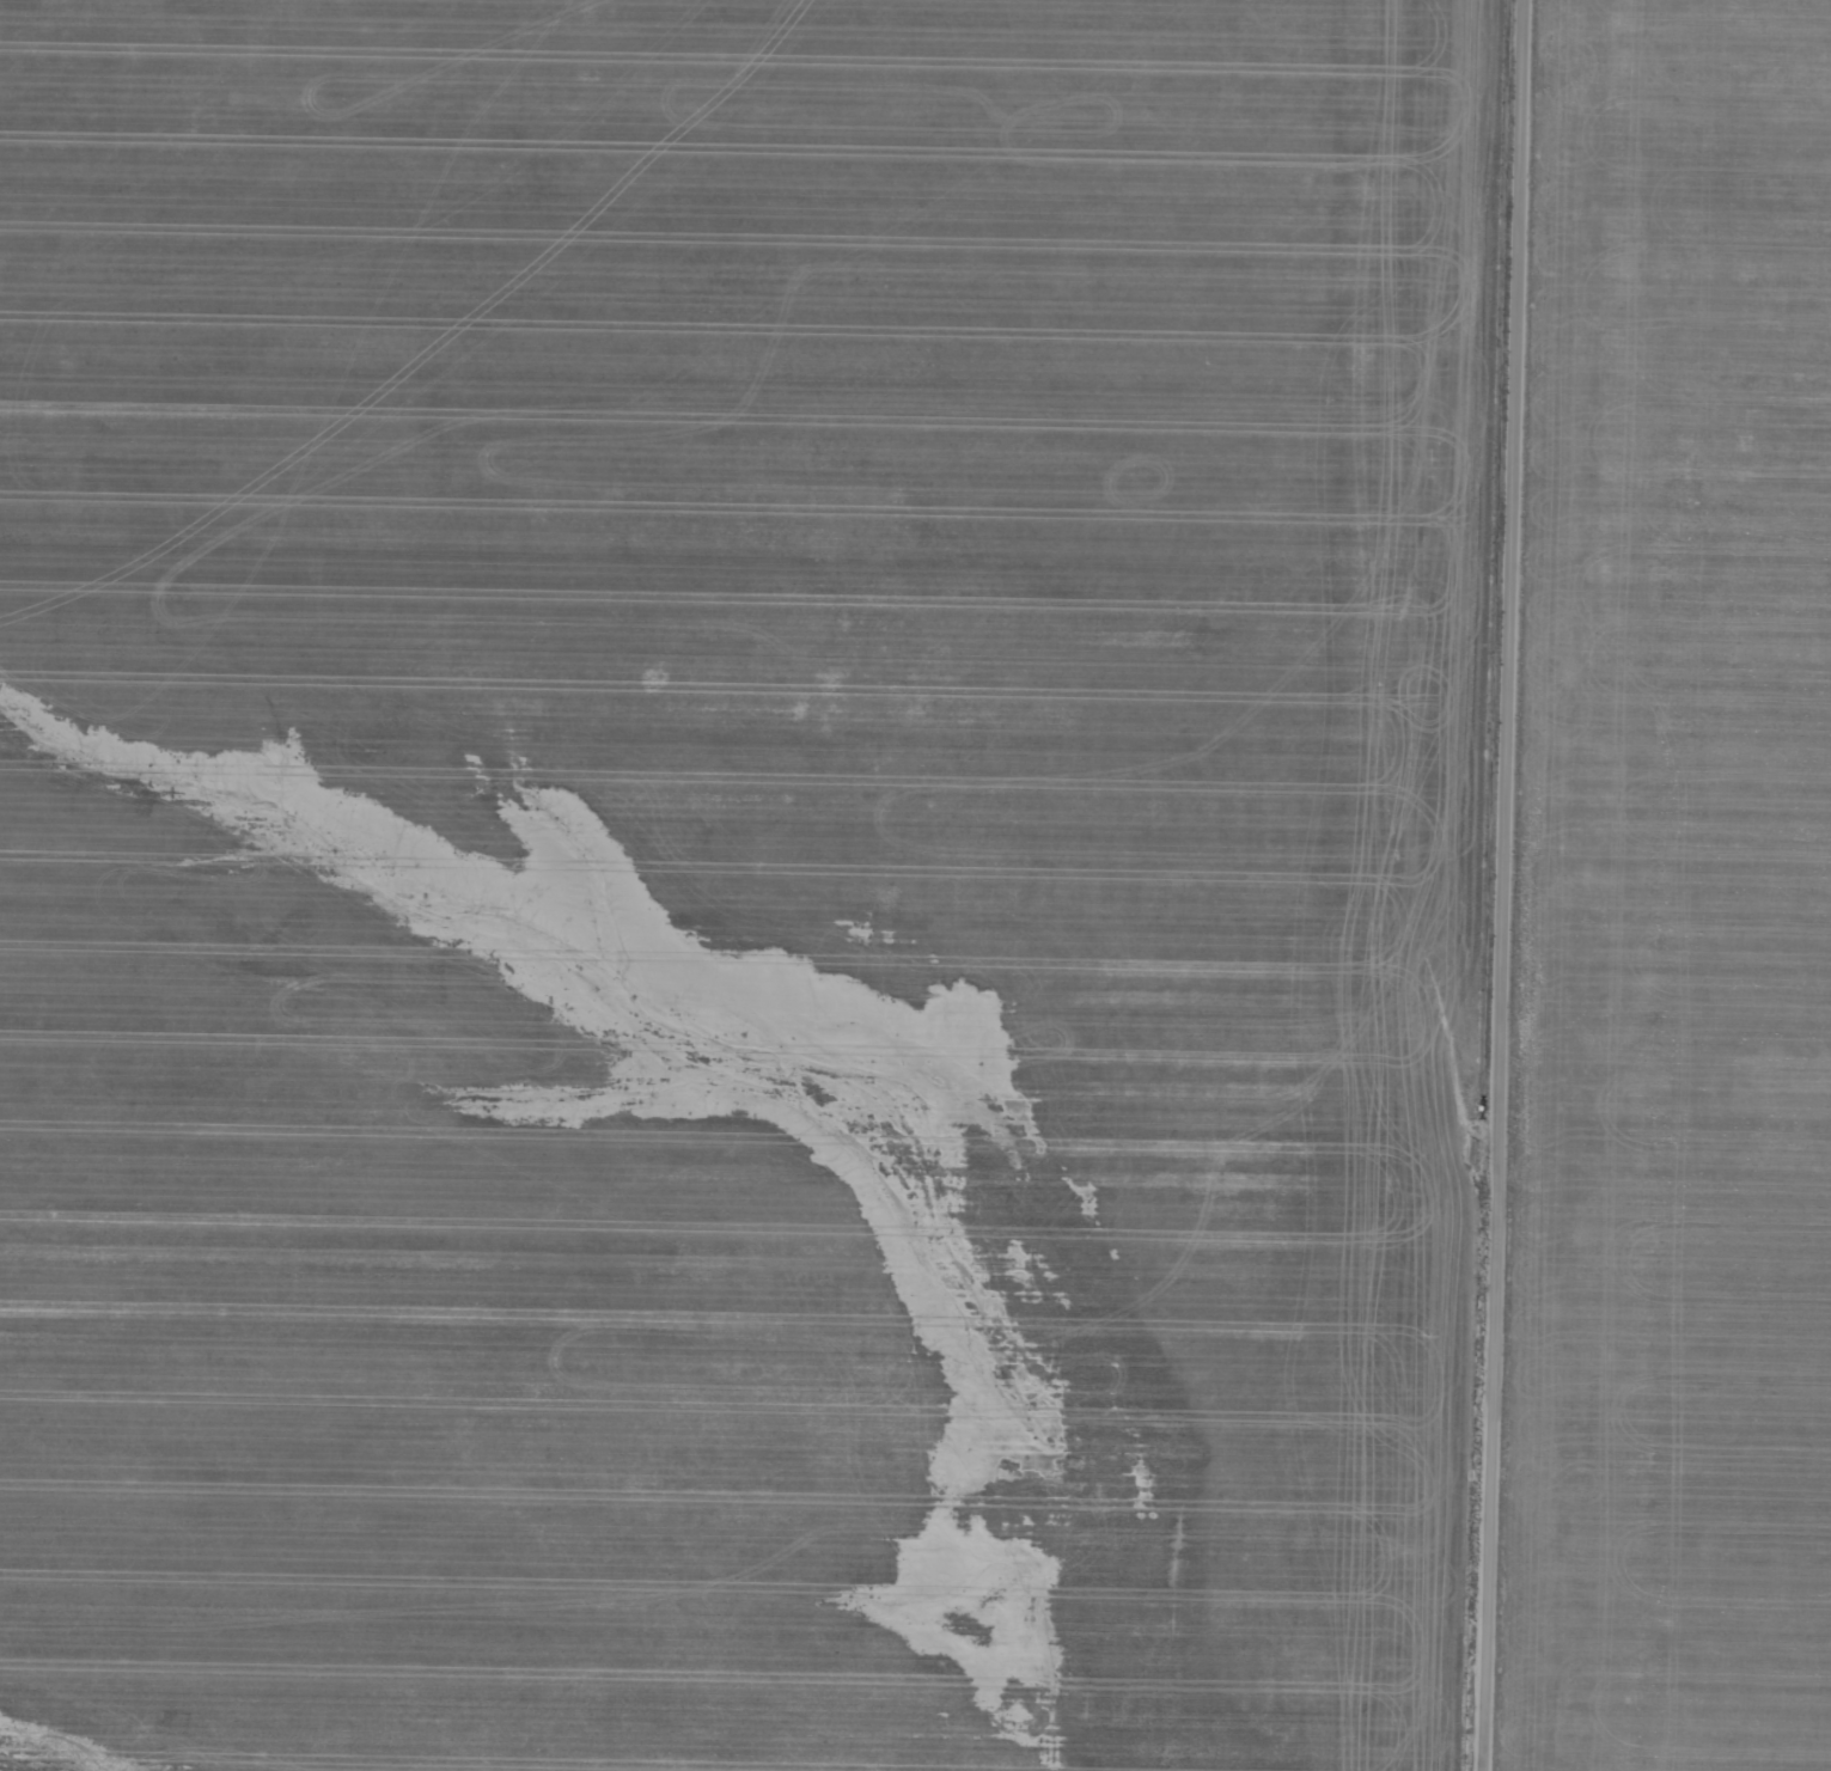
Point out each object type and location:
road: (1505, 885)

